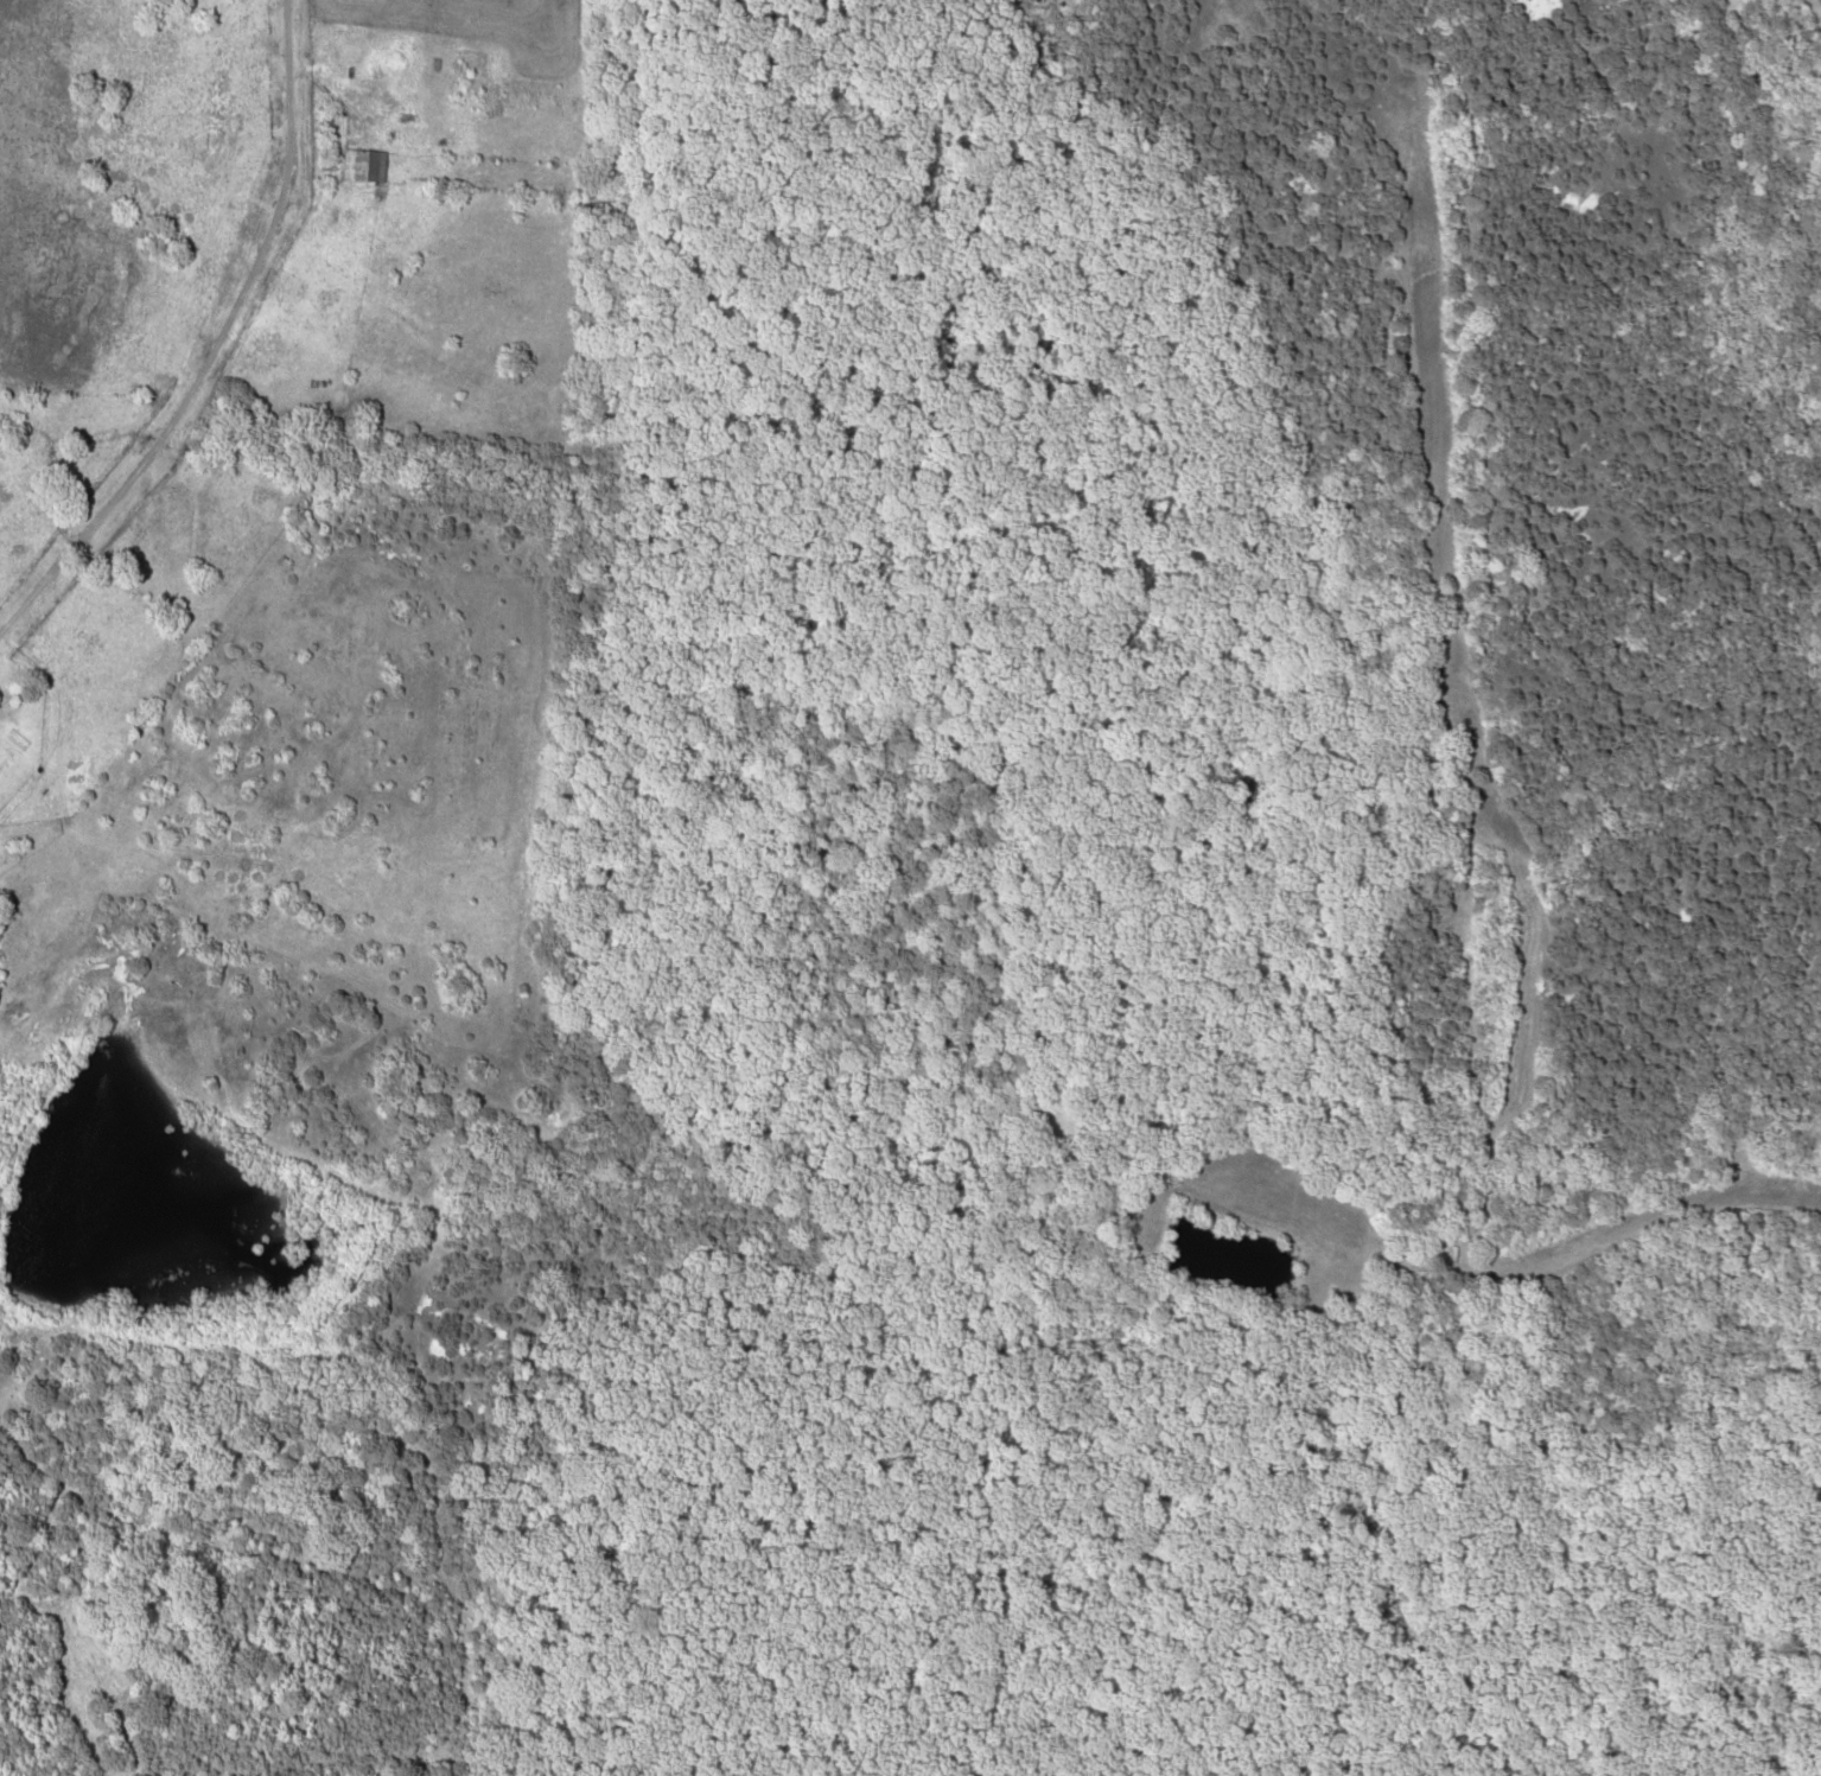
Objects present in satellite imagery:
building: (363, 165)
building: (1445, 1253)

